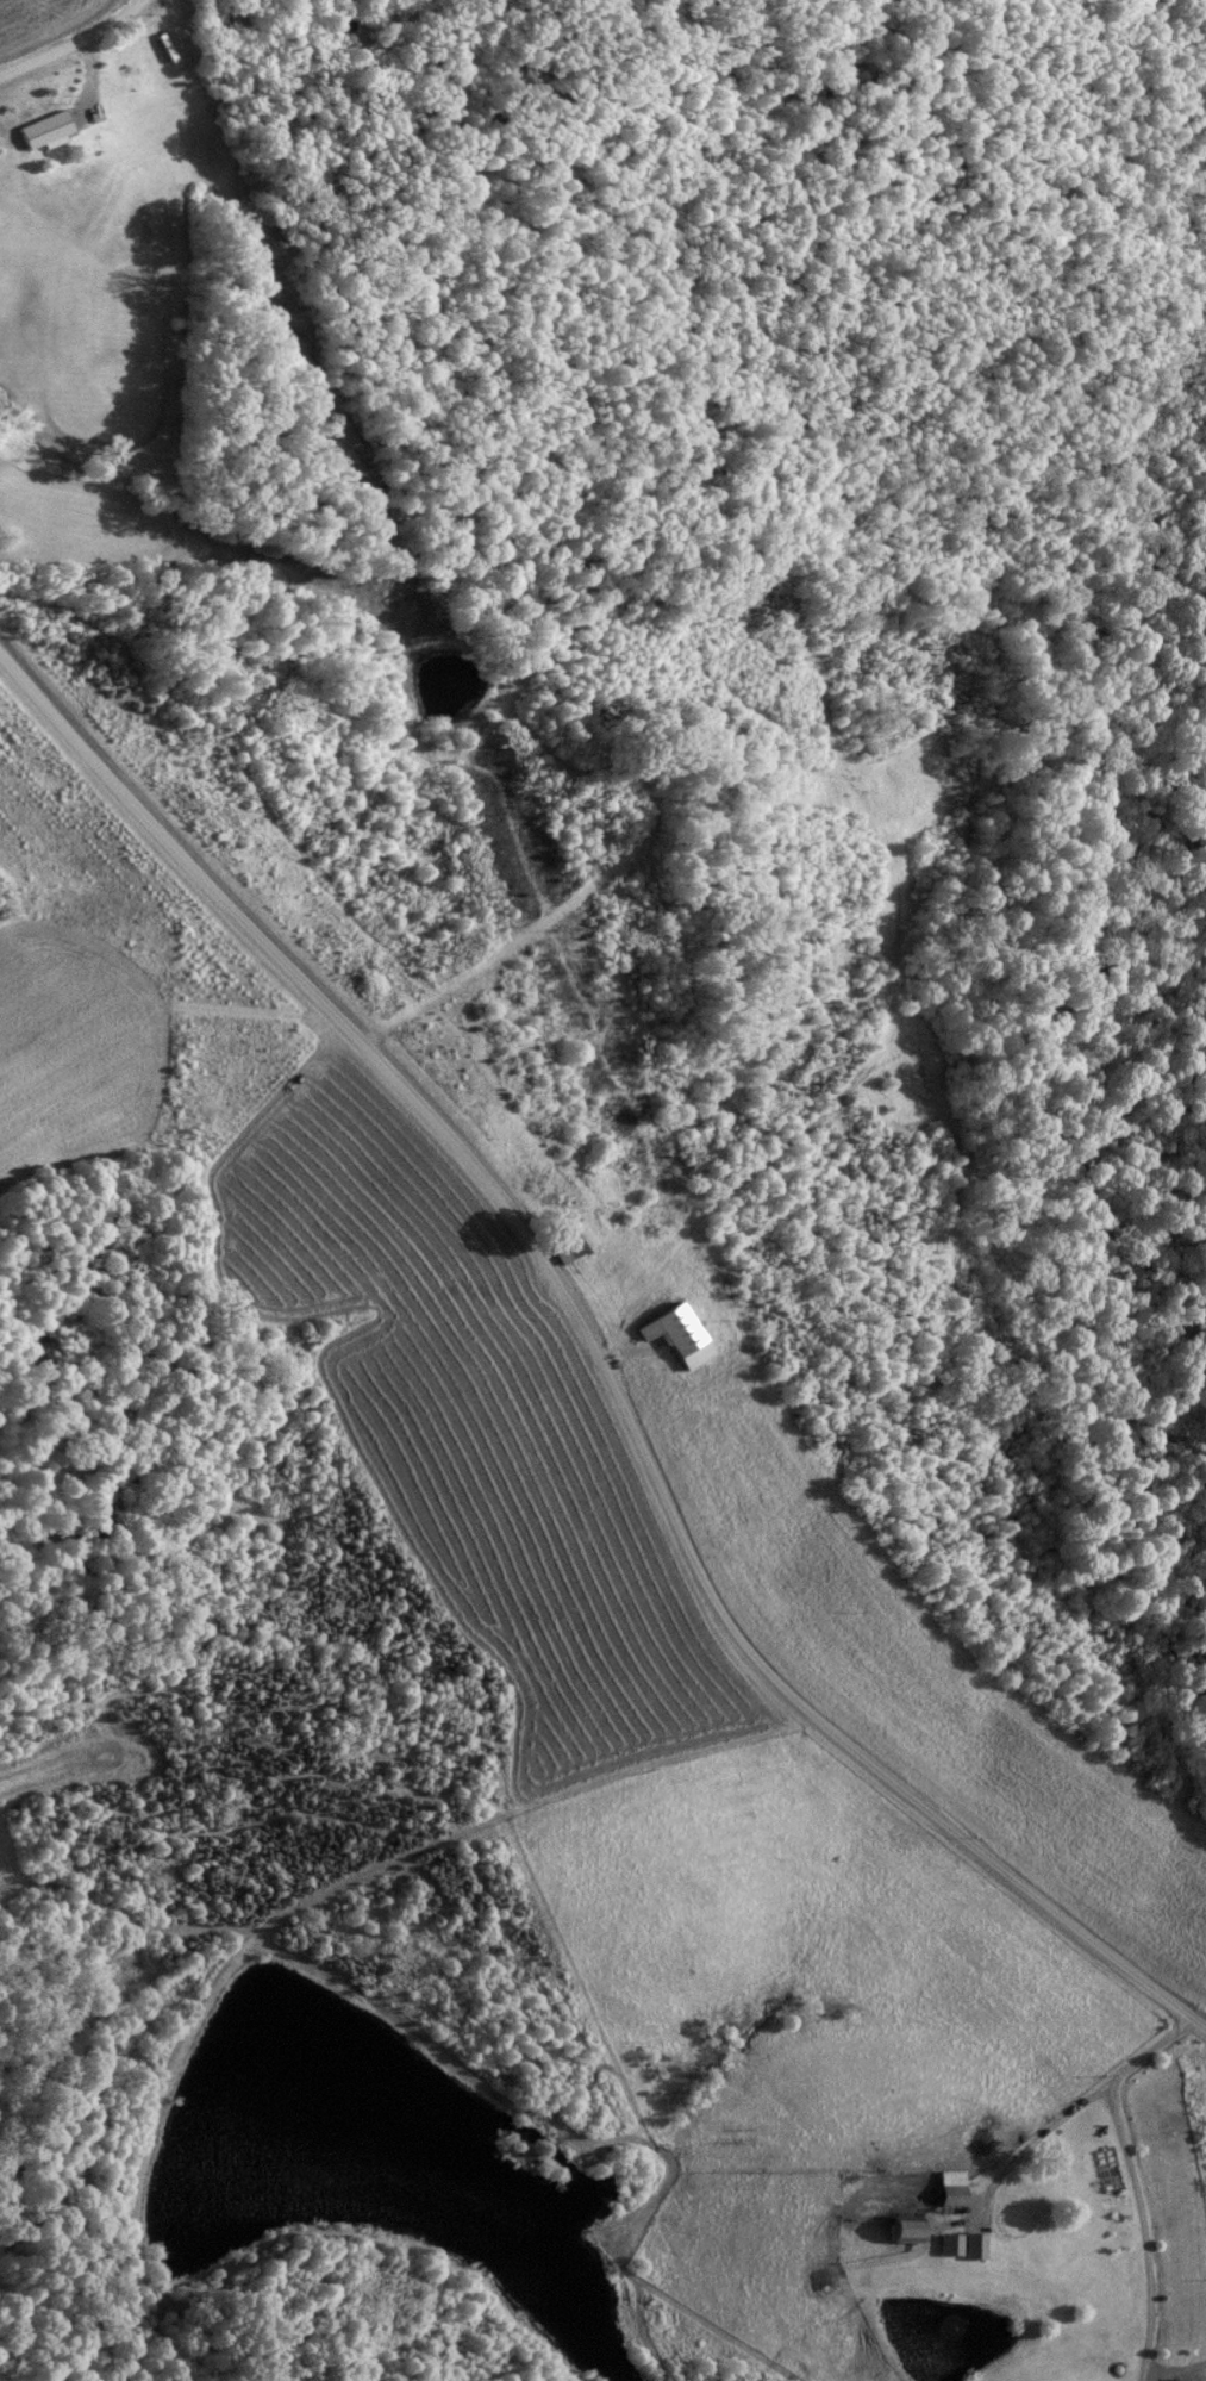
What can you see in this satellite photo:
road: (76, 38)
building: (162, 49)
building: (43, 132)
building: (565, 1241)
building: (673, 1336)
road: (588, 1352)
building: (948, 2189)
building: (896, 2231)
building: (958, 2246)

